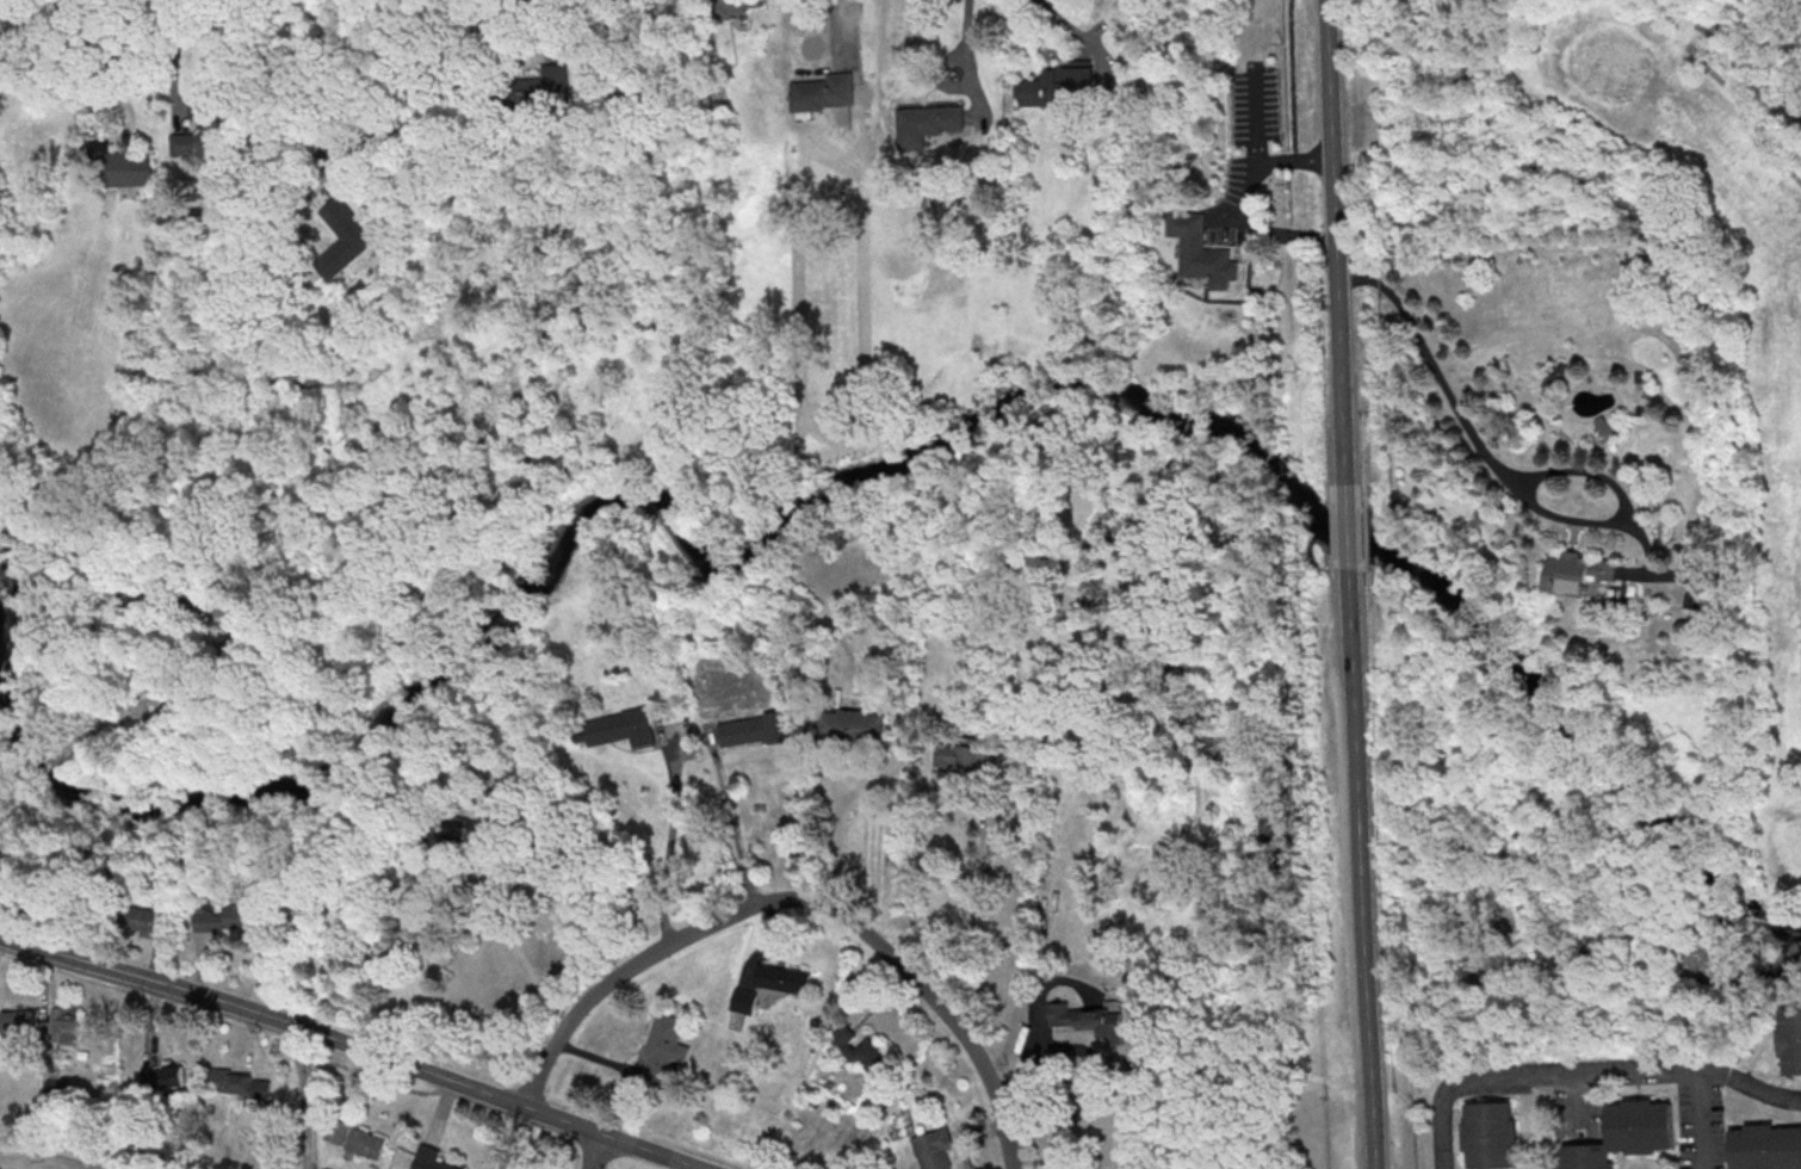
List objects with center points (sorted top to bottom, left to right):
building: (731, 8)
road: (537, 13)
road: (1070, 27)
road: (836, 31)
road: (971, 43)
road: (116, 45)
road: (26, 49)
road: (175, 57)
building: (544, 86)
road: (1725, 86)
building: (1054, 87)
building: (824, 93)
building: (930, 123)
building: (197, 143)
road: (352, 143)
building: (25, 159)
building: (119, 166)
road: (1252, 200)
building: (360, 233)
building: (1201, 250)
road: (1337, 254)
road: (1479, 443)
road: (1368, 445)
river: (890, 468)
road: (1368, 534)
road: (1349, 536)
building: (1578, 573)
park: (1758, 595)
road: (1375, 632)
river: (1505, 655)
river: (385, 723)
building: (852, 725)
building: (620, 728)
building: (755, 730)
building: (959, 759)
road: (735, 827)
building: (466, 830)
road: (1020, 833)
road: (671, 849)
road: (1362, 865)
road: (804, 897)
building: (227, 917)
building: (143, 920)
road: (521, 959)
building: (782, 978)
building: (744, 1001)
building: (1093, 1019)
building: (17, 1022)
building: (66, 1025)
building: (1789, 1038)
road: (354, 1046)
building: (663, 1049)
building: (861, 1051)
road: (1583, 1074)
building: (165, 1076)
building: (239, 1083)
road: (302, 1097)
road: (1572, 1102)
parking lot: (1573, 1112)
road: (1695, 1119)
parking lot: (1696, 1125)
building: (1486, 1133)
building: (1621, 1133)
building: (355, 1138)
building: (1763, 1146)
building: (933, 1149)
road: (599, 1151)
building: (429, 1158)

